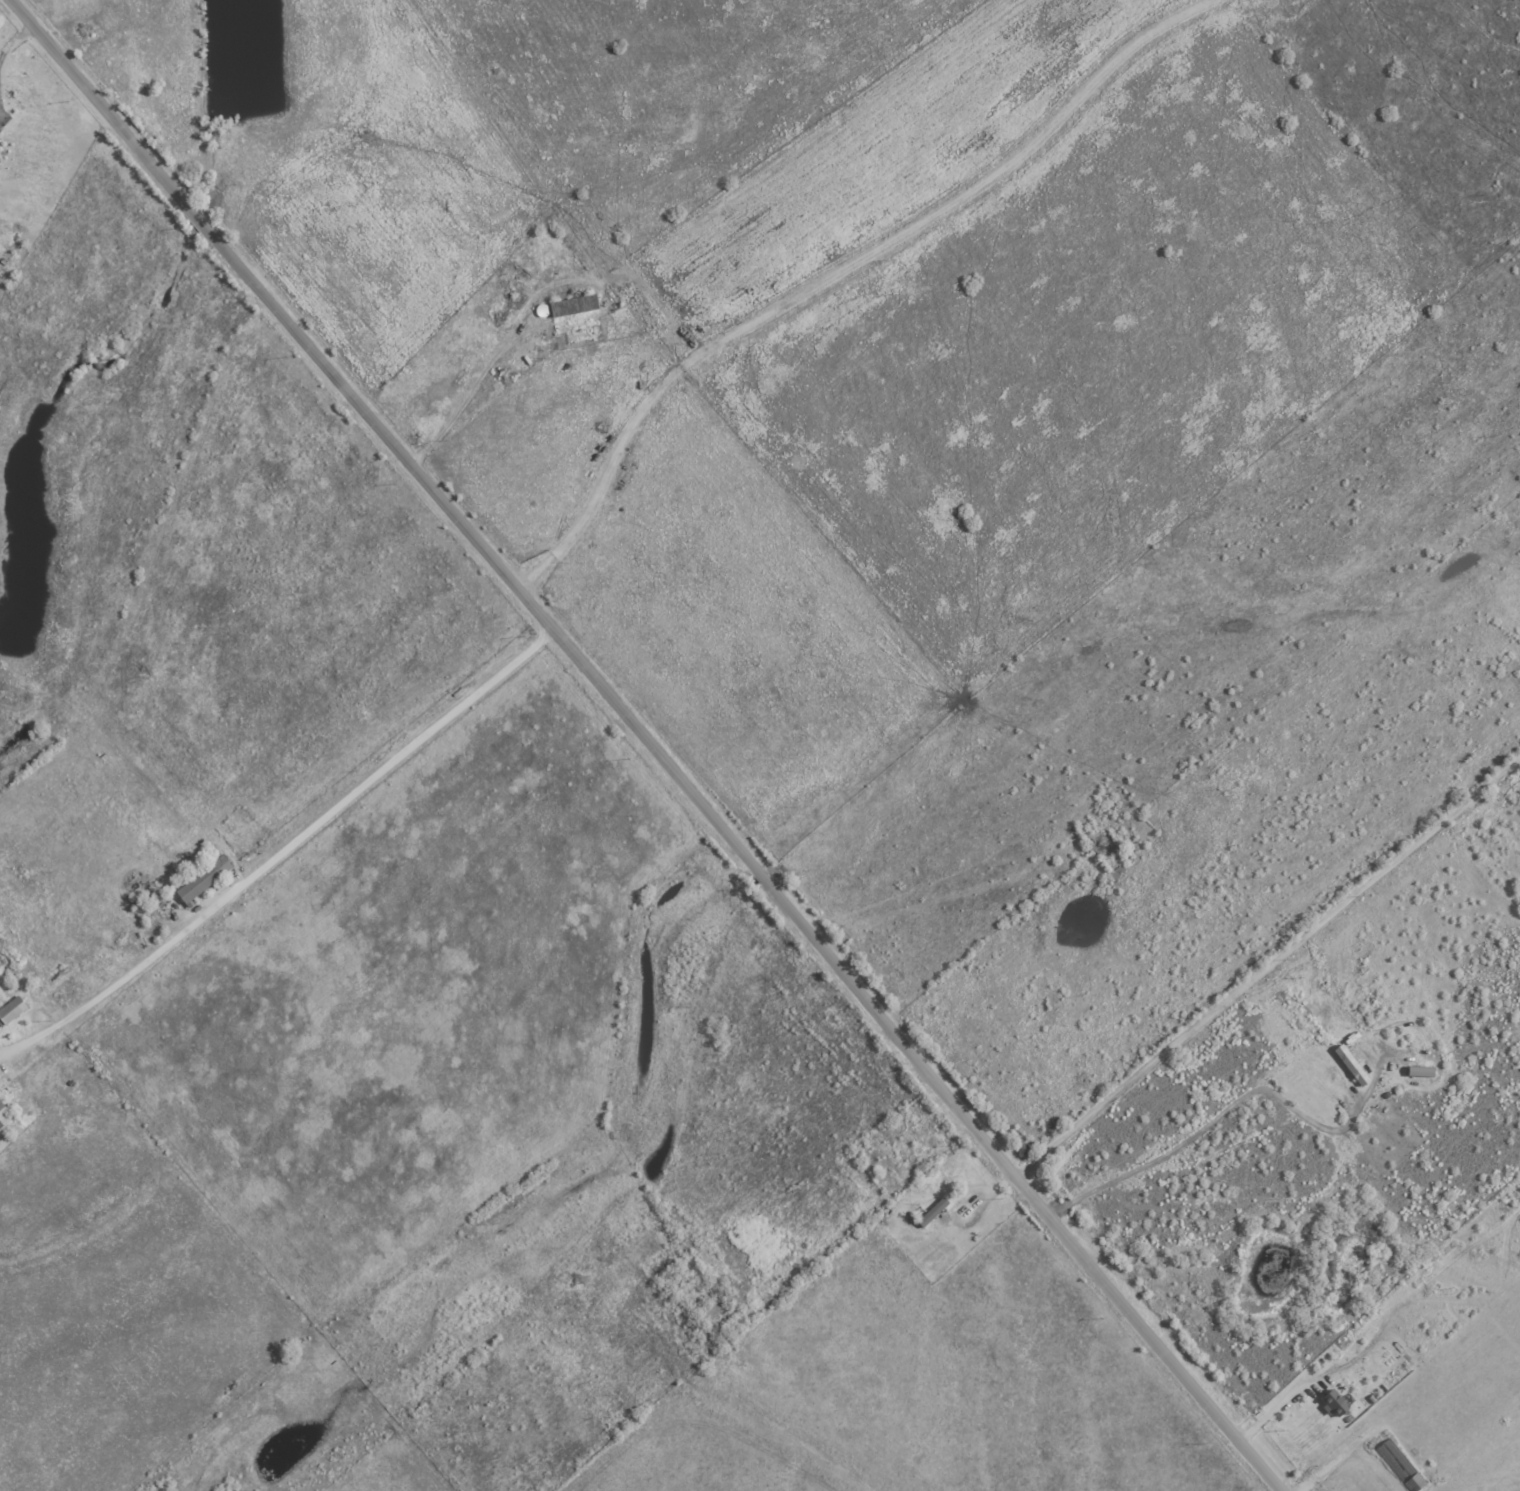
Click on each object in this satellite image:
road: (15, 40)
building: (575, 306)
road: (648, 744)
road: (279, 852)
building: (203, 881)
road: (1267, 965)
road: (1286, 974)
building: (12, 1010)
building: (1350, 1065)
road: (1353, 1114)
building: (4, 1115)
building: (933, 1212)
building: (1334, 1402)
road: (1272, 1411)

